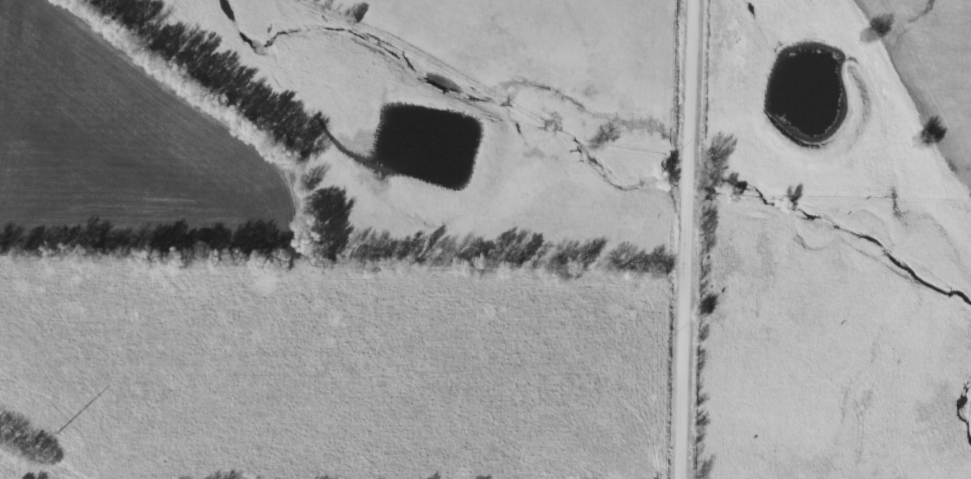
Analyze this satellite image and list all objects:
road: (676, 239)

